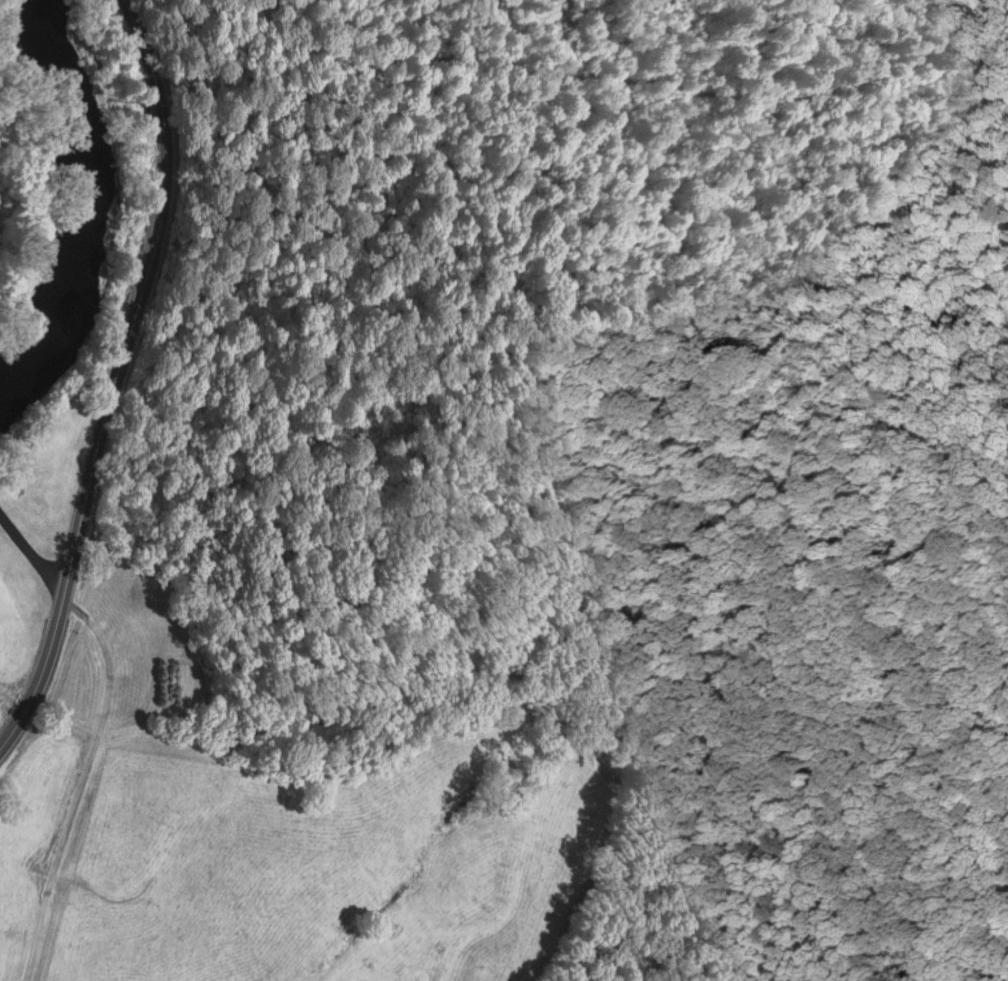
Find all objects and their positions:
river: (80, 203)
road: (121, 374)
road: (30, 552)

